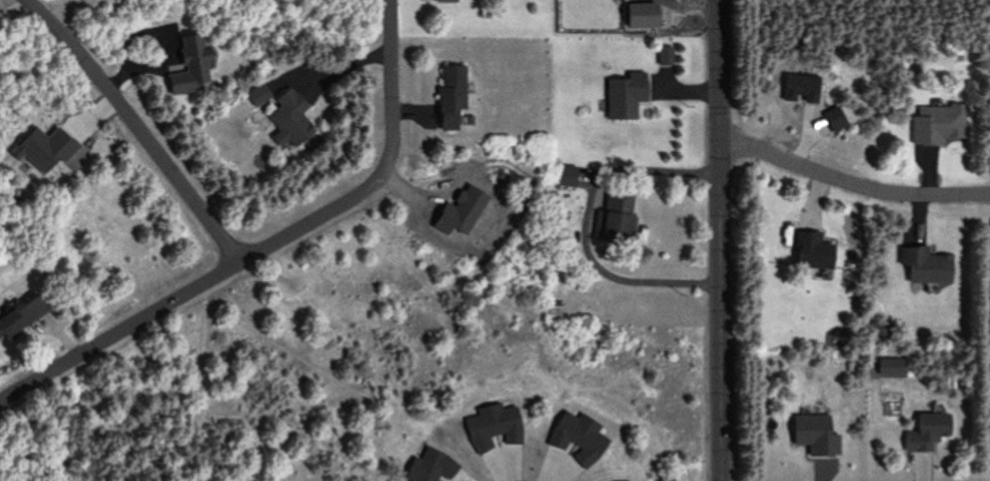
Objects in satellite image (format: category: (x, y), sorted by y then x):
building: (186, 66)
building: (799, 87)
building: (255, 94)
building: (449, 95)
building: (626, 95)
building: (287, 119)
building: (936, 124)
road: (138, 127)
road: (383, 169)
road: (850, 183)
road: (586, 224)
building: (613, 229)
road: (718, 240)
building: (809, 250)
building: (923, 265)
building: (18, 312)
road: (120, 331)
building: (927, 432)

